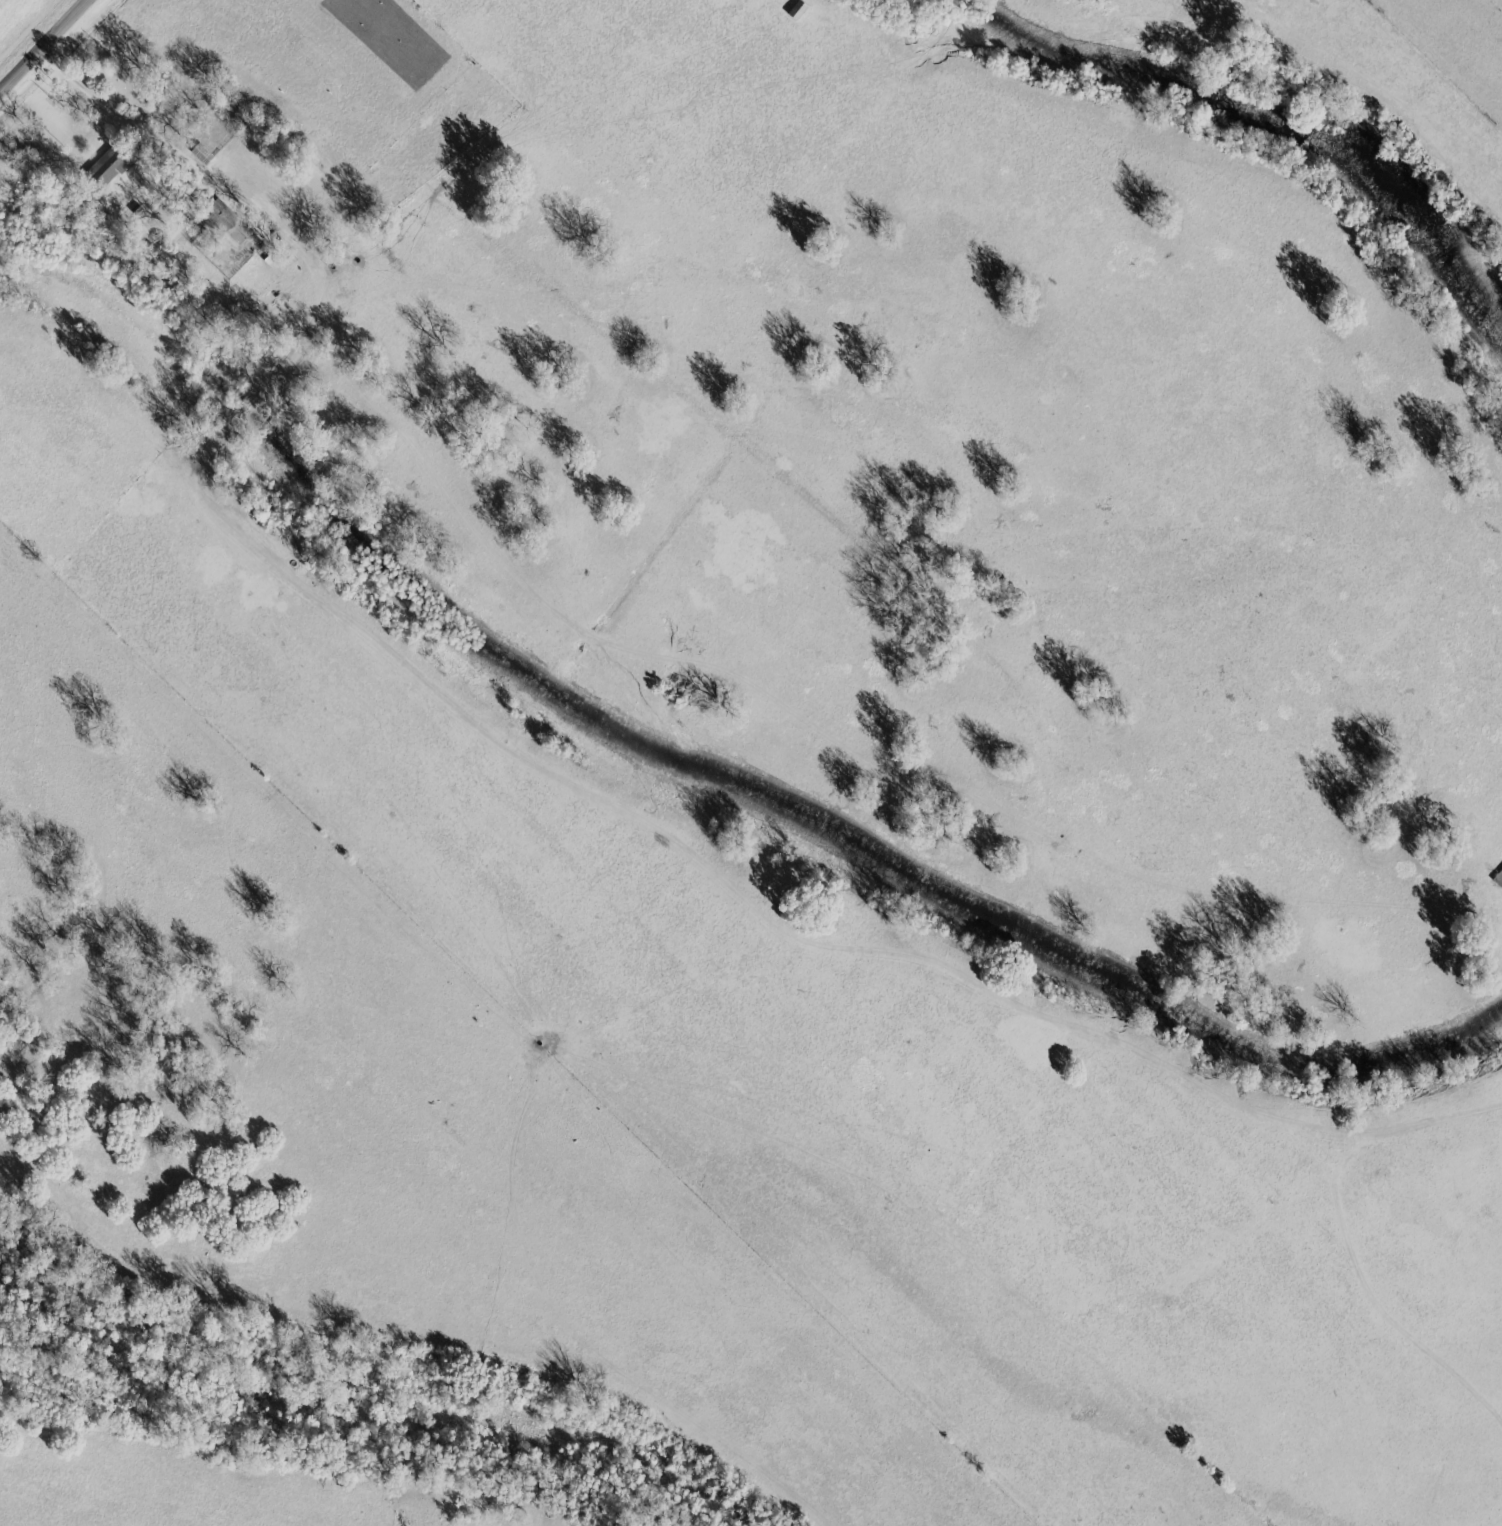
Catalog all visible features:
road: (37, 38)
road: (77, 81)
building: (108, 166)
building: (229, 218)

